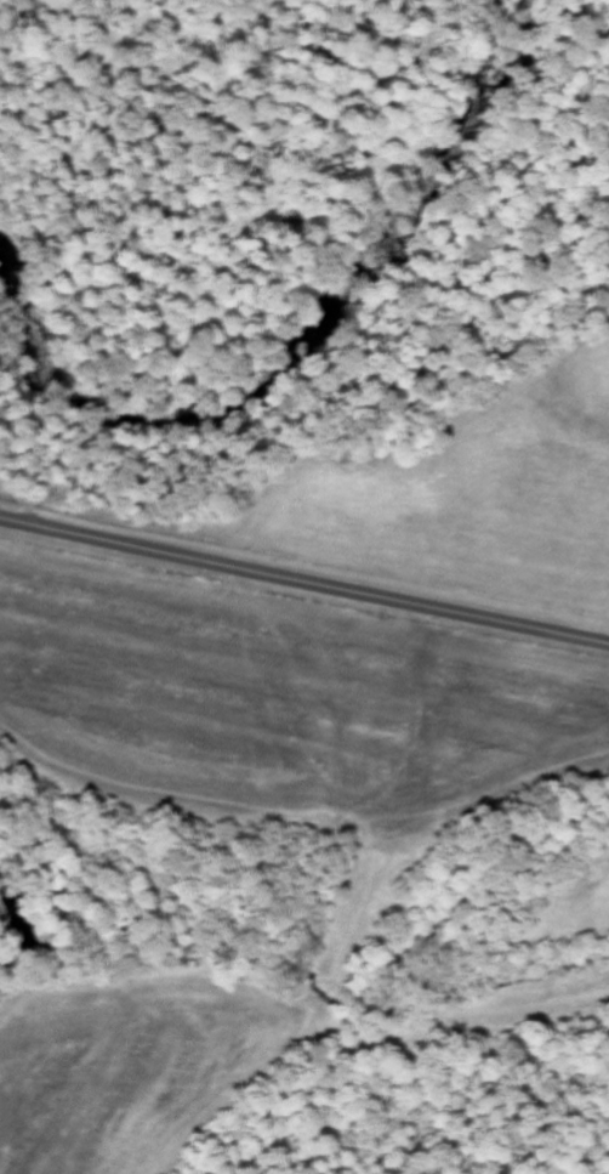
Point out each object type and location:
road: (303, 579)

